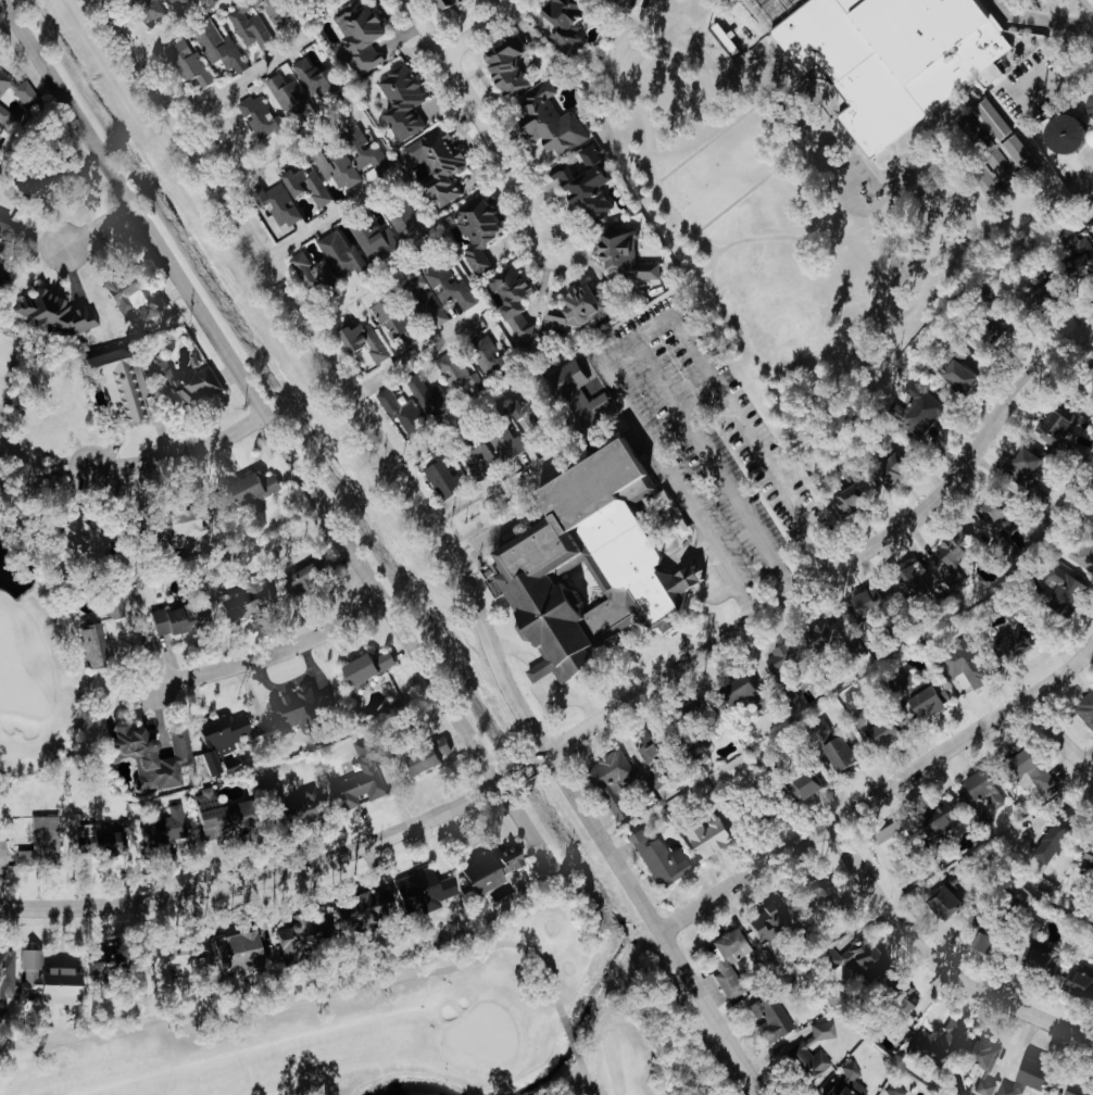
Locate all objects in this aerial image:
building: (183, 2)
road: (1090, 2)
building: (453, 3)
road: (782, 8)
building: (154, 9)
building: (282, 11)
building: (574, 23)
building: (253, 25)
road: (432, 26)
road: (481, 27)
road: (1027, 27)
building: (364, 35)
building: (224, 48)
building: (884, 59)
building: (192, 62)
building: (514, 65)
building: (319, 77)
road: (239, 83)
road: (1052, 91)
building: (292, 93)
building: (29, 95)
building: (406, 99)
building: (264, 116)
building: (555, 122)
road: (728, 126)
building: (370, 154)
road: (511, 155)
building: (441, 161)
building: (340, 166)
road: (766, 178)
building: (592, 180)
building: (312, 184)
building: (40, 186)
building: (285, 204)
building: (407, 219)
road: (325, 221)
building: (5, 222)
road: (96, 228)
building: (483, 229)
building: (378, 241)
building: (1081, 248)
building: (2, 253)
building: (346, 253)
building: (629, 254)
building: (318, 272)
building: (452, 286)
building: (129, 290)
building: (518, 298)
building: (434, 299)
building: (583, 312)
building: (54, 313)
building: (397, 322)
road: (637, 336)
building: (369, 342)
building: (492, 353)
road: (413, 360)
road: (840, 362)
building: (964, 368)
building: (463, 375)
building: (123, 381)
building: (190, 382)
road: (253, 389)
building: (588, 397)
building: (438, 401)
building: (929, 403)
building: (407, 411)
building: (536, 414)
building: (1092, 417)
building: (1059, 427)
parking lot: (706, 431)
building: (514, 444)
building: (486, 451)
road: (179, 456)
road: (717, 464)
building: (1030, 464)
building: (899, 471)
road: (523, 477)
building: (449, 478)
building: (262, 487)
building: (858, 499)
building: (1002, 515)
building: (191, 524)
road: (447, 542)
building: (962, 546)
building: (90, 547)
building: (1083, 556)
building: (582, 563)
building: (313, 578)
building: (926, 588)
building: (1070, 592)
building: (253, 602)
building: (877, 602)
park: (32, 604)
building: (181, 620)
building: (99, 633)
building: (1016, 644)
road: (268, 652)
building: (790, 662)
building: (374, 666)
park: (15, 676)
building: (756, 692)
building: (933, 701)
building: (1088, 710)
building: (302, 712)
road: (596, 718)
building: (882, 726)
road: (1063, 726)
building: (223, 742)
building: (845, 753)
building: (149, 754)
building: (656, 757)
building: (429, 760)
building: (1026, 770)
building: (361, 779)
building: (614, 782)
building: (814, 786)
road: (880, 794)
building: (980, 800)
building: (314, 804)
building: (230, 819)
road: (530, 822)
building: (163, 830)
building: (1048, 838)
building: (97, 840)
building: (714, 840)
building: (41, 842)
building: (512, 858)
building: (1084, 858)
building: (659, 860)
building: (488, 874)
building: (427, 891)
building: (813, 891)
building: (367, 910)
building: (762, 920)
building: (976, 933)
building: (306, 939)
building: (243, 953)
building: (855, 956)
building: (723, 959)
road: (935, 962)
building: (180, 966)
building: (1050, 967)
building: (7, 974)
building: (70, 978)
building: (765, 1015)
park: (389, 1030)
building: (895, 1030)
building: (955, 1053)
building: (807, 1054)
building: (846, 1071)
building: (1019, 1078)
building: (842, 1087)
building: (1066, 1088)
building: (891, 1090)

